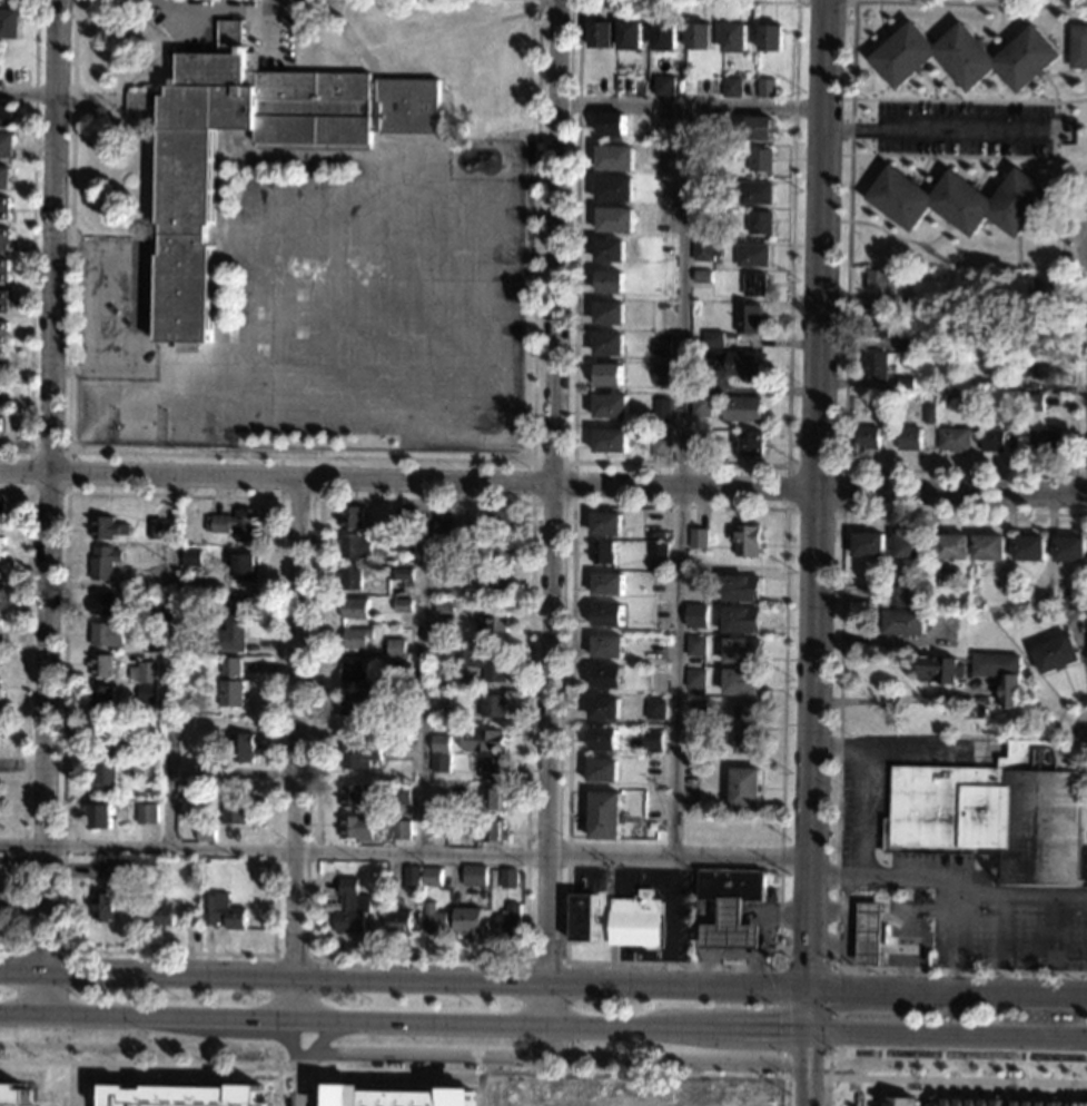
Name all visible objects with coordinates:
road: (714, 1)
road: (797, 1)
road: (275, 7)
road: (240, 12)
building: (9, 22)
road: (178, 24)
parking lot: (189, 31)
road: (451, 32)
building: (600, 34)
building: (629, 36)
building: (664, 36)
building: (699, 36)
building: (733, 37)
road: (353, 38)
building: (770, 38)
building: (1078, 46)
building: (967, 56)
building: (724, 69)
building: (725, 75)
road: (130, 81)
building: (663, 86)
building: (731, 87)
building: (764, 88)
road: (27, 92)
road: (968, 101)
road: (692, 105)
building: (4, 116)
building: (612, 125)
building: (758, 128)
parking lot: (961, 128)
road: (931, 130)
building: (4, 145)
building: (702, 152)
road: (1027, 157)
building: (615, 158)
building: (760, 159)
building: (3, 177)
building: (186, 186)
building: (614, 188)
building: (754, 192)
building: (962, 200)
building: (3, 208)
building: (615, 219)
building: (704, 220)
building: (759, 221)
road: (1049, 223)
road: (902, 238)
building: (3, 239)
road: (31, 240)
building: (703, 249)
building: (610, 250)
building: (752, 255)
road: (1083, 268)
building: (2, 269)
building: (702, 276)
building: (882, 280)
building: (609, 282)
building: (753, 284)
building: (1045, 285)
building: (2, 300)
building: (933, 303)
building: (1014, 304)
building: (905, 305)
road: (101, 310)
road: (141, 310)
building: (609, 313)
building: (749, 318)
building: (877, 325)
building: (1045, 328)
building: (2, 332)
building: (712, 339)
building: (609, 344)
building: (905, 344)
building: (1009, 345)
building: (660, 347)
building: (0, 357)
building: (732, 363)
building: (877, 366)
building: (1, 367)
building: (1044, 367)
building: (660, 374)
building: (607, 375)
road: (844, 381)
building: (906, 383)
building: (1006, 384)
building: (1034, 402)
building: (701, 405)
building: (611, 406)
building: (887, 406)
building: (742, 409)
building: (661, 411)
building: (930, 413)
building: (1011, 415)
building: (0, 417)
park: (140, 426)
building: (869, 437)
building: (909, 438)
building: (955, 440)
building: (994, 440)
building: (610, 441)
building: (1046, 441)
building: (749, 444)
building: (660, 445)
building: (695, 445)
road: (304, 457)
road: (680, 464)
road: (787, 467)
road: (680, 481)
road: (543, 487)
road: (1074, 487)
road: (28, 492)
road: (299, 498)
road: (531, 504)
road: (573, 505)
road: (51, 507)
building: (0, 508)
building: (405, 516)
building: (352, 517)
building: (497, 521)
building: (236, 524)
building: (606, 524)
building: (443, 526)
building: (107, 527)
building: (154, 529)
road: (552, 529)
building: (698, 539)
building: (744, 540)
building: (444, 544)
building: (869, 544)
building: (405, 545)
building: (911, 545)
building: (0, 546)
building: (356, 546)
building: (952, 546)
building: (988, 547)
building: (1029, 547)
building: (1070, 549)
building: (498, 550)
building: (658, 550)
building: (158, 551)
road: (816, 552)
building: (602, 553)
building: (190, 556)
building: (103, 562)
building: (244, 566)
building: (398, 574)
building: (443, 574)
building: (349, 579)
building: (494, 580)
building: (607, 584)
building: (741, 587)
building: (645, 590)
building: (119, 594)
building: (897, 595)
building: (101, 603)
building: (403, 605)
building: (443, 605)
building: (354, 608)
building: (606, 615)
building: (695, 615)
building: (493, 620)
building: (741, 620)
building: (903, 622)
building: (233, 624)
building: (106, 633)
building: (356, 638)
building: (694, 645)
building: (606, 646)
building: (396, 649)
building: (655, 651)
building: (742, 651)
building: (1056, 653)
building: (485, 662)
building: (102, 664)
road: (175, 664)
building: (402, 668)
road: (427, 670)
building: (939, 670)
building: (144, 672)
building: (352, 672)
building: (1000, 673)
building: (605, 678)
building: (693, 678)
building: (742, 681)
building: (230, 683)
building: (146, 693)
building: (0, 694)
building: (102, 697)
building: (442, 698)
road: (900, 701)
building: (356, 704)
building: (487, 705)
building: (150, 708)
building: (604, 708)
building: (654, 709)
road: (23, 717)
building: (393, 725)
building: (749, 728)
road: (1055, 731)
building: (603, 739)
building: (653, 739)
building: (484, 740)
road: (838, 742)
building: (441, 743)
building: (241, 747)
road: (298, 750)
road: (839, 752)
building: (359, 753)
building: (105, 763)
building: (442, 763)
road: (866, 768)
building: (493, 769)
building: (603, 770)
building: (213, 772)
building: (745, 788)
building: (401, 794)
building: (352, 796)
building: (494, 799)
building: (236, 809)
building: (146, 813)
building: (100, 816)
building: (605, 816)
building: (996, 816)
building: (438, 827)
building: (352, 828)
building: (402, 830)
building: (492, 831)
building: (206, 832)
road: (405, 853)
building: (118, 869)
building: (463, 873)
building: (475, 875)
building: (432, 876)
building: (412, 878)
building: (508, 879)
road: (949, 883)
parking lot: (958, 888)
building: (417, 896)
building: (102, 906)
building: (731, 907)
building: (348, 909)
building: (221, 911)
building: (158, 914)
road: (926, 915)
building: (187, 916)
building: (583, 918)
building: (435, 920)
building: (635, 920)
building: (468, 921)
road: (671, 922)
building: (399, 924)
building: (508, 924)
road: (1002, 930)
road: (1050, 931)
building: (870, 934)
road: (957, 940)
road: (39, 949)
road: (271, 955)
road: (294, 957)
road: (780, 965)
road: (814, 967)
road: (543, 986)
traffic signals: (809, 990)
road: (543, 1026)
traffic signals: (809, 1030)
road: (421, 1058)
road: (296, 1061)
road: (676, 1063)
road: (406, 1069)
building: (770, 1074)
road: (828, 1078)
road: (957, 1079)
road: (58, 1084)
road: (874, 1092)
road: (936, 1093)
building: (13, 1095)
building: (180, 1095)
building: (402, 1095)
building: (974, 1099)
building: (900, 1102)
building: (1036, 1102)
building: (1080, 1102)

